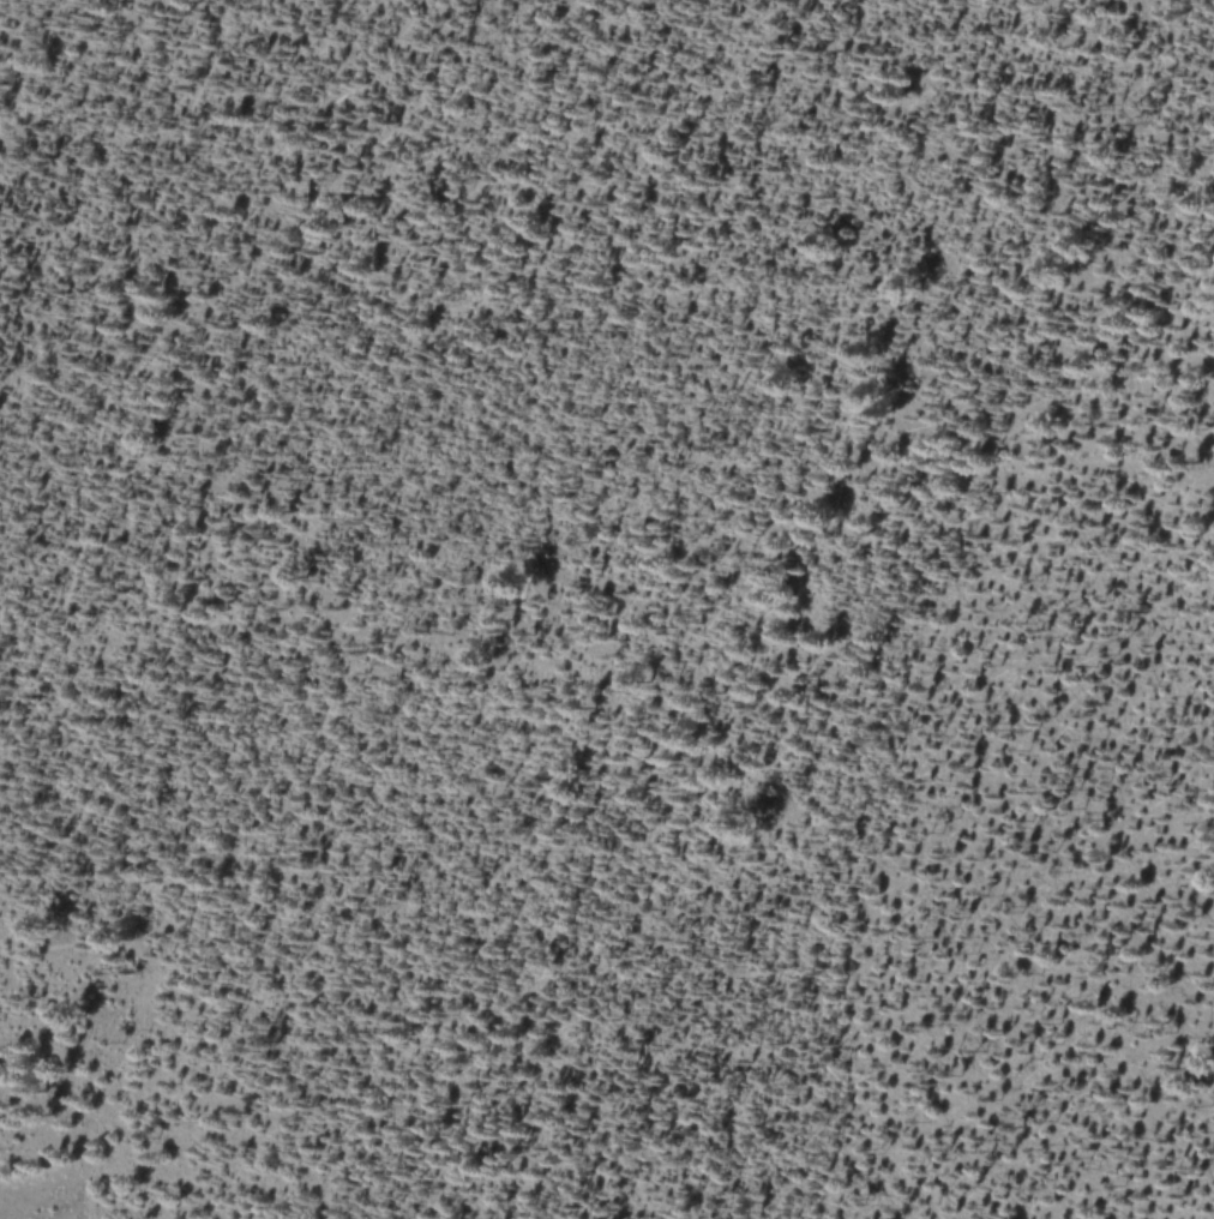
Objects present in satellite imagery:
road: (118, 359)
road: (371, 1007)

